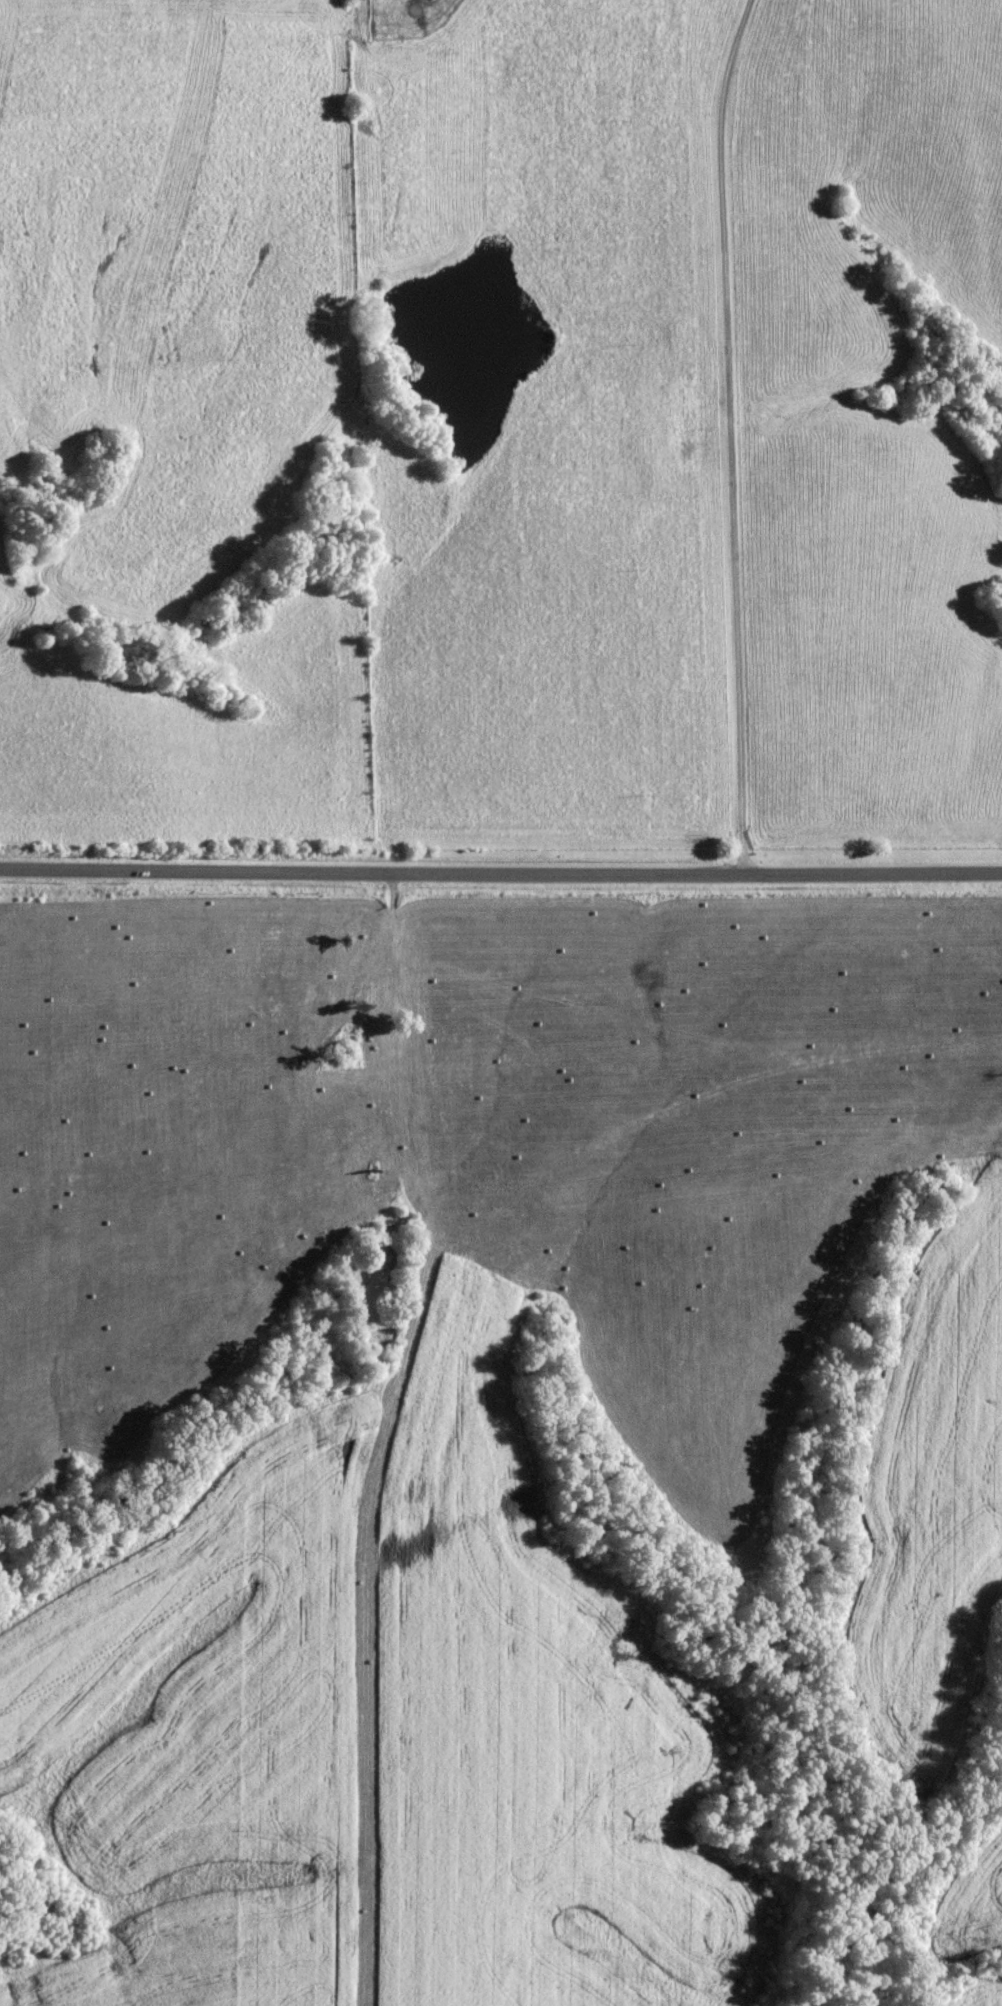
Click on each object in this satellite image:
road: (729, 436)
road: (500, 876)
road: (386, 1010)
road: (395, 1434)

